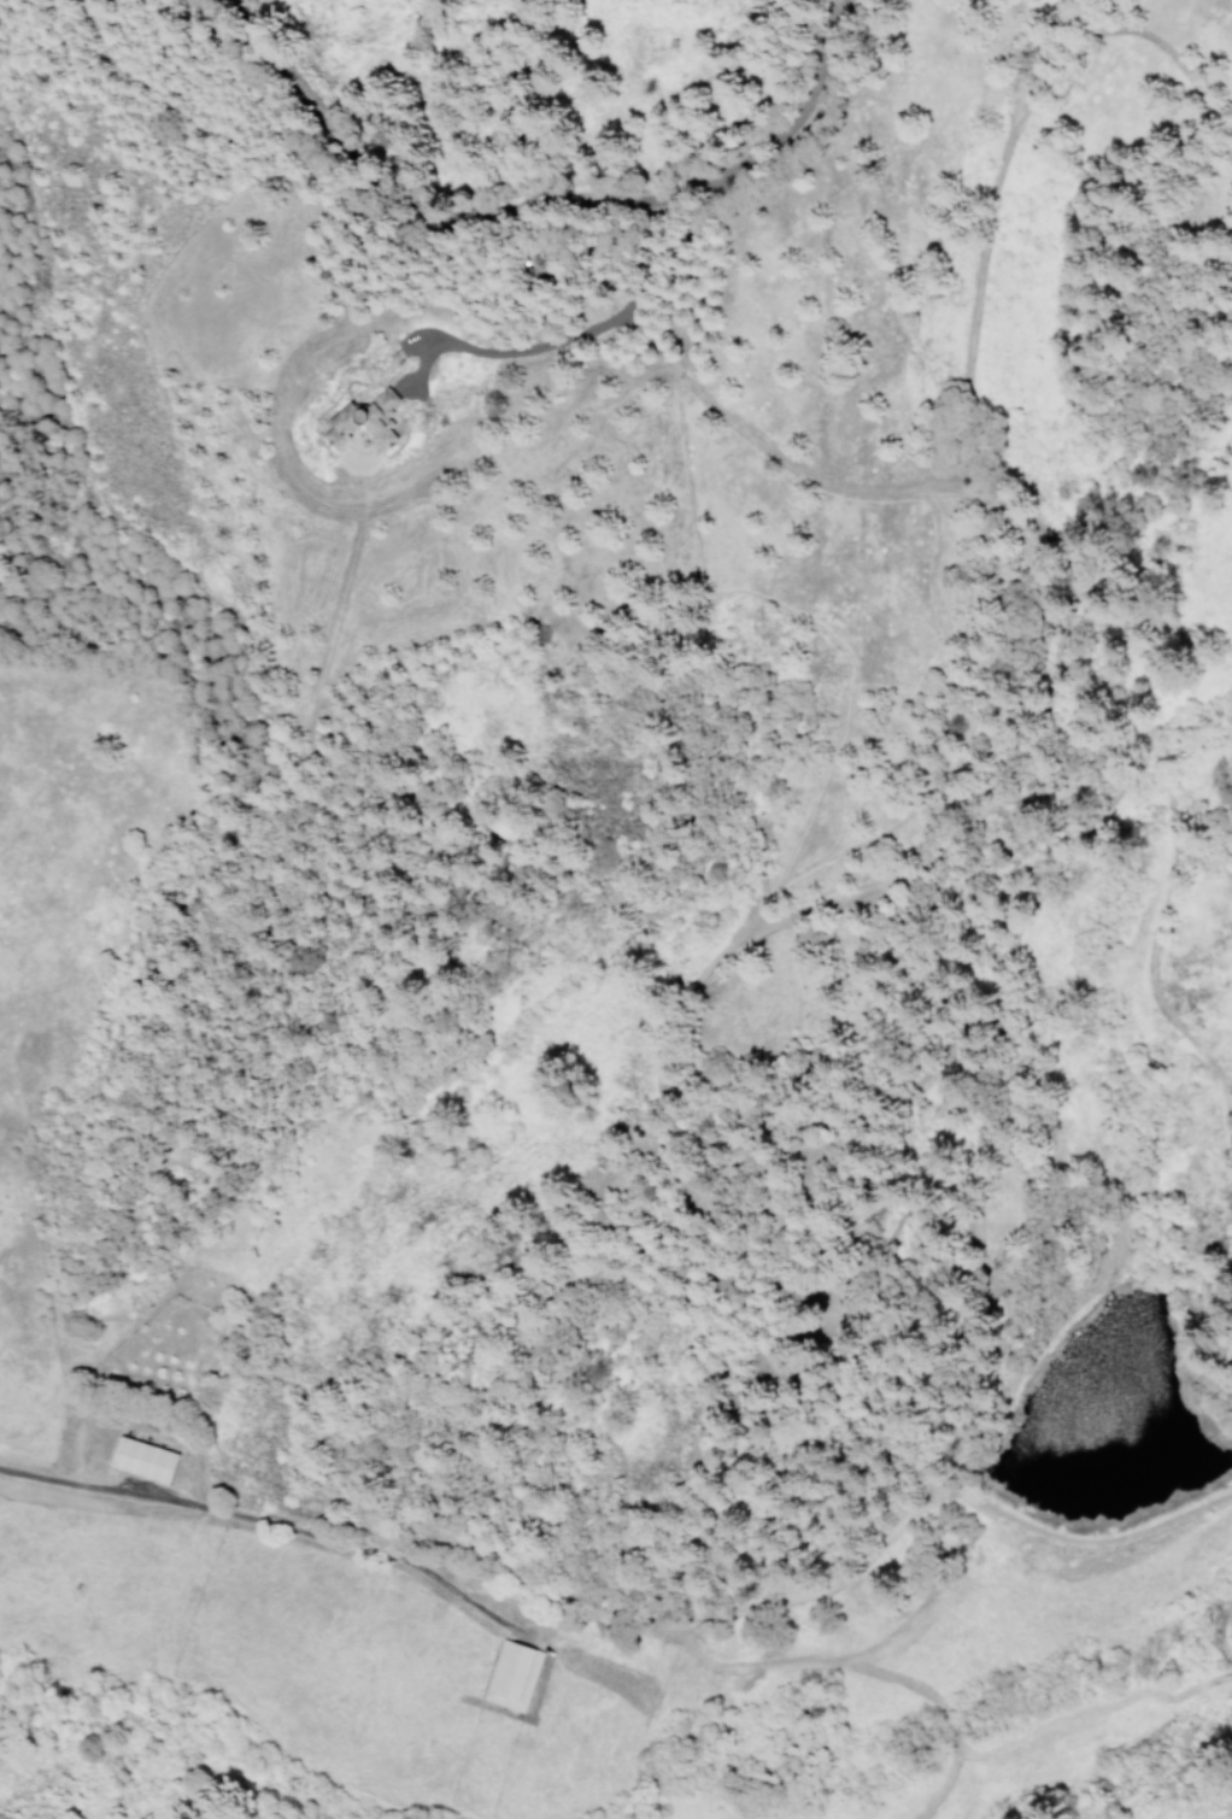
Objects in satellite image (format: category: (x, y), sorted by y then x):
road: (539, 216)
road: (562, 339)
building: (365, 417)
road: (940, 1060)
building: (145, 1459)
building: (514, 1676)

